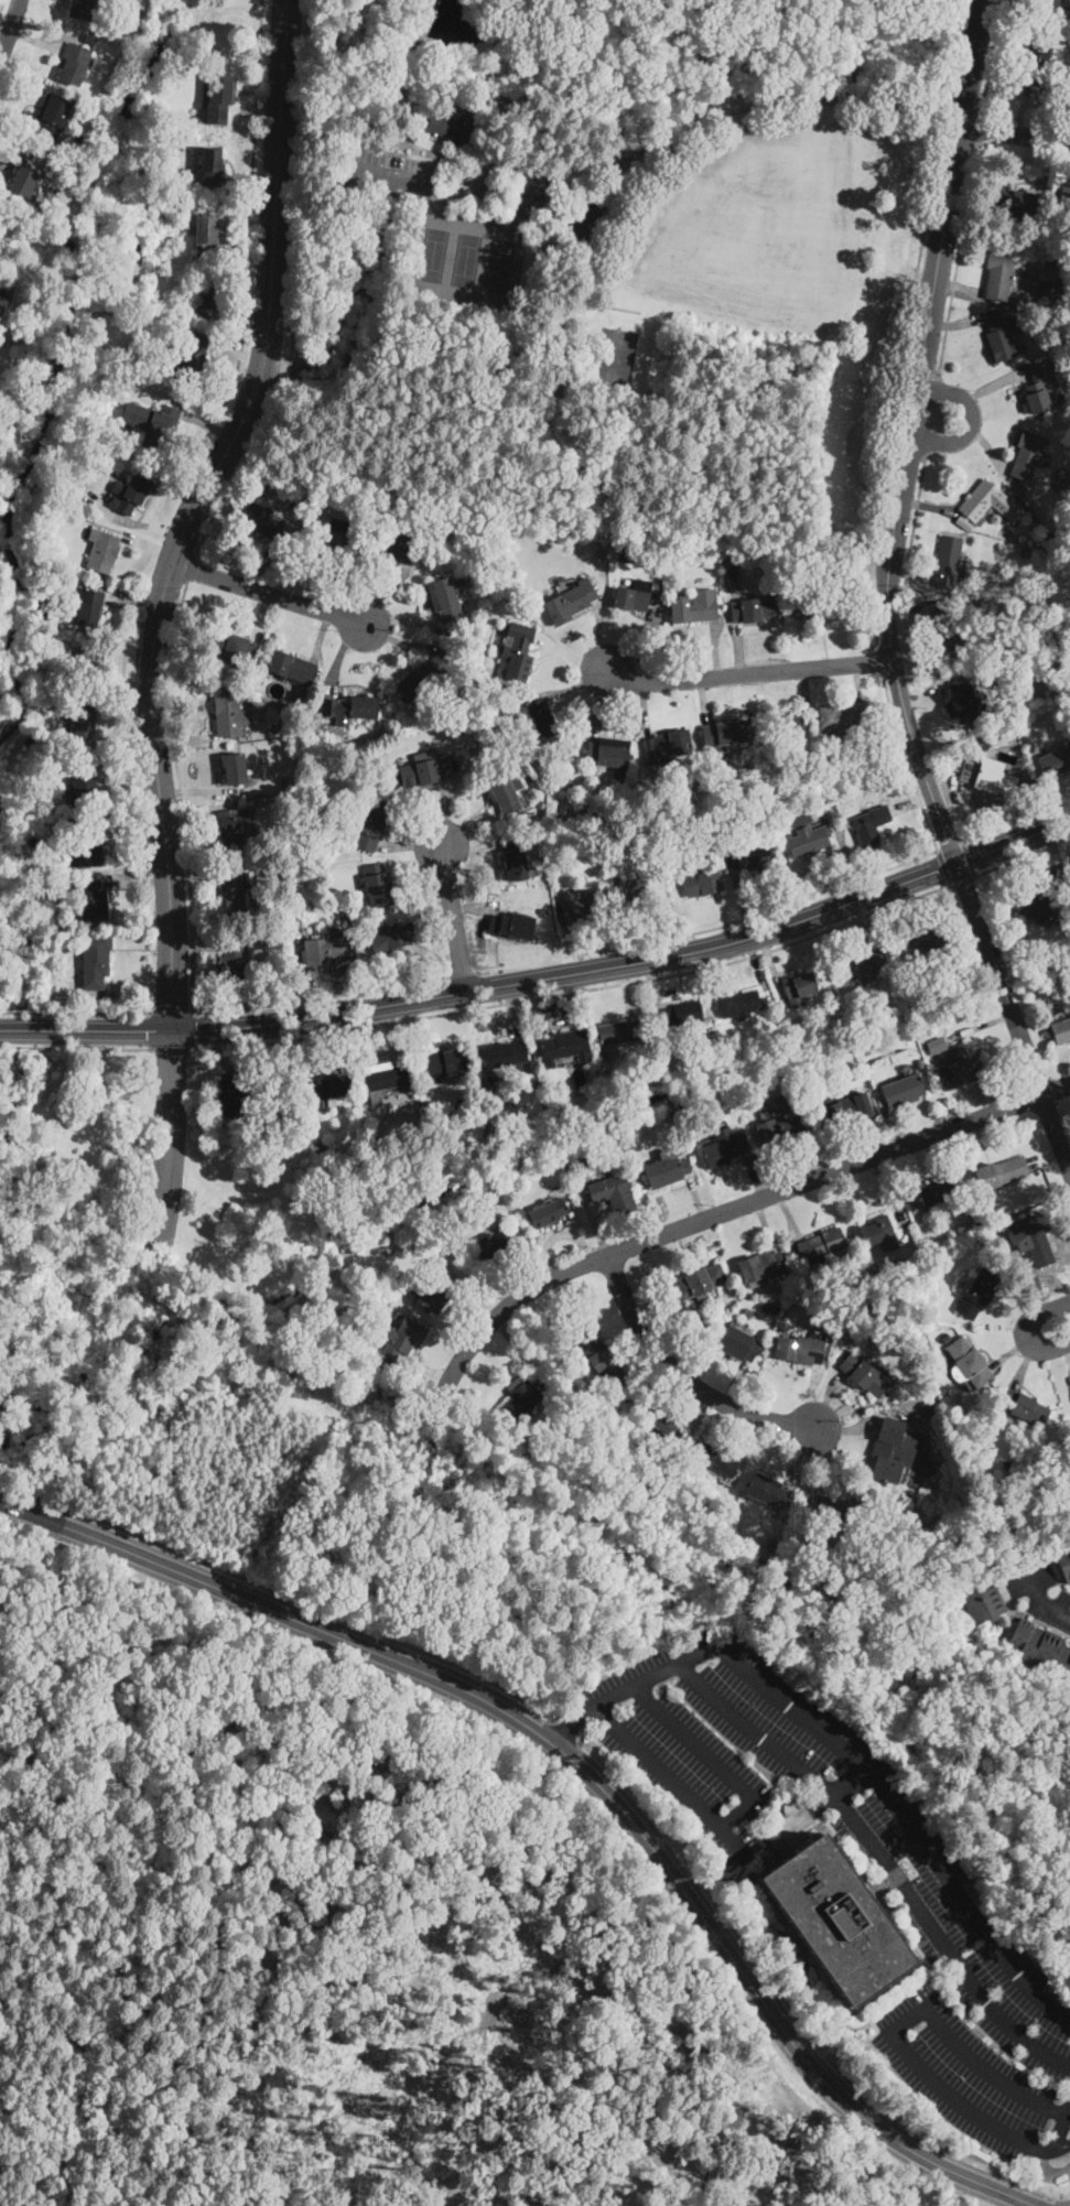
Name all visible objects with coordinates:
road: (0, 3)
building: (1047, 6)
building: (83, 9)
road: (1026, 9)
dam: (424, 15)
road: (10, 26)
road: (3, 34)
road: (36, 41)
road: (498, 48)
road: (992, 55)
building: (1037, 63)
building: (75, 64)
road: (357, 64)
road: (583, 93)
building: (219, 100)
building: (474, 101)
road: (256, 111)
road: (1026, 112)
road: (10, 115)
building: (48, 117)
road: (980, 126)
building: (453, 128)
road: (1016, 136)
road: (18, 156)
road: (601, 161)
building: (212, 165)
road: (1047, 165)
road: (493, 167)
parking lot: (388, 174)
building: (462, 175)
road: (387, 176)
road: (250, 179)
building: (455, 181)
building: (24, 183)
road: (618, 184)
building: (495, 187)
building: (466, 188)
building: (1064, 197)
building: (1015, 201)
road: (456, 206)
road: (242, 219)
park: (755, 229)
building: (207, 230)
road: (247, 239)
road: (958, 257)
road: (244, 262)
park: (465, 262)
building: (1026, 263)
park: (757, 266)
park: (614, 267)
building: (1053, 268)
building: (999, 274)
building: (1, 285)
road: (294, 288)
building: (1050, 290)
road: (269, 292)
building: (213, 295)
road: (990, 299)
road: (350, 301)
building: (2, 303)
road: (246, 310)
road: (962, 321)
road: (907, 324)
building: (1004, 338)
building: (133, 346)
road: (239, 354)
park: (614, 358)
building: (191, 363)
building: (1069, 364)
building: (30, 366)
road: (993, 383)
building: (1039, 387)
road: (929, 413)
building: (152, 422)
road: (971, 422)
road: (208, 425)
road: (985, 453)
building: (1027, 455)
building: (131, 493)
building: (293, 500)
building: (985, 504)
road: (927, 505)
building: (43, 515)
road: (916, 517)
building: (454, 520)
building: (264, 521)
road: (150, 526)
building: (1037, 527)
road: (915, 533)
building: (333, 538)
road: (137, 539)
building: (1051, 542)
building: (392, 547)
building: (102, 551)
building: (1025, 551)
building: (602, 554)
building: (626, 555)
building: (950, 562)
road: (192, 566)
road: (262, 566)
building: (1010, 566)
building: (841, 582)
road: (333, 584)
building: (733, 585)
road: (268, 595)
road: (387, 595)
building: (634, 596)
road: (887, 596)
building: (446, 597)
building: (570, 603)
road: (134, 605)
building: (91, 607)
building: (695, 607)
building: (813, 607)
road: (862, 607)
building: (754, 610)
road: (262, 616)
road: (909, 619)
road: (400, 620)
road: (601, 631)
building: (947, 631)
road: (322, 635)
road: (647, 636)
road: (397, 639)
building: (240, 649)
road: (715, 649)
road: (738, 649)
building: (517, 650)
building: (999, 650)
road: (571, 655)
road: (338, 656)
road: (880, 660)
building: (89, 664)
building: (292, 667)
road: (747, 673)
building: (425, 677)
building: (991, 678)
road: (857, 682)
road: (125, 684)
road: (575, 684)
road: (804, 690)
road: (926, 699)
road: (706, 700)
road: (598, 703)
building: (353, 707)
building: (968, 707)
road: (644, 710)
building: (230, 715)
building: (843, 717)
building: (540, 721)
building: (82, 722)
building: (786, 724)
building: (277, 728)
building: (723, 735)
road: (123, 740)
road: (182, 745)
building: (668, 745)
building: (610, 755)
building: (829, 757)
building: (1056, 761)
road: (125, 763)
road: (906, 763)
building: (235, 769)
building: (969, 770)
building: (426, 771)
building: (288, 780)
building: (991, 780)
building: (84, 785)
road: (197, 791)
building: (505, 791)
road: (180, 796)
road: (159, 797)
road: (911, 802)
building: (314, 809)
road: (962, 811)
road: (190, 814)
road: (443, 814)
building: (586, 814)
building: (799, 817)
road: (130, 818)
road: (1016, 821)
building: (872, 823)
building: (372, 824)
building: (234, 830)
road: (469, 830)
building: (596, 830)
building: (545, 831)
building: (808, 841)
building: (87, 844)
road: (411, 845)
road: (469, 846)
road: (950, 846)
road: (843, 848)
road: (413, 857)
building: (757, 857)
road: (969, 858)
road: (1023, 858)
building: (518, 861)
road: (943, 867)
road: (194, 874)
road: (132, 879)
road: (963, 879)
building: (47, 884)
building: (377, 884)
building: (702, 884)
building: (236, 888)
building: (644, 889)
building: (91, 900)
road: (742, 900)
building: (583, 904)
building: (1041, 904)
road: (467, 908)
building: (544, 911)
road: (454, 919)
road: (684, 920)
building: (511, 926)
road: (712, 928)
road: (861, 928)
building: (67, 932)
road: (628, 934)
building: (926, 938)
building: (393, 939)
road: (197, 947)
road: (574, 947)
building: (325, 950)
road: (435, 953)
building: (95, 961)
building: (235, 961)
road: (774, 967)
building: (861, 969)
road: (464, 974)
road: (295, 976)
road: (544, 978)
road: (651, 985)
building: (798, 985)
road: (688, 988)
road: (627, 990)
road: (577, 991)
building: (112, 993)
road: (321, 997)
building: (741, 1005)
road: (511, 1010)
road: (75, 1012)
road: (91, 1012)
road: (171, 1012)
building: (683, 1013)
road: (558, 1020)
building: (818, 1025)
building: (1061, 1029)
road: (193, 1030)
road: (151, 1031)
road: (392, 1032)
building: (619, 1032)
road: (418, 1038)
road: (338, 1041)
building: (937, 1046)
building: (565, 1047)
road: (75, 1049)
road: (172, 1049)
road: (219, 1052)
building: (651, 1052)
building: (505, 1055)
building: (610, 1058)
building: (445, 1064)
building: (956, 1069)
building: (807, 1074)
building: (386, 1077)
building: (324, 1089)
building: (904, 1090)
building: (235, 1094)
building: (782, 1103)
building: (841, 1109)
building: (679, 1113)
building: (768, 1113)
building: (294, 1125)
building: (781, 1132)
road: (171, 1142)
building: (324, 1148)
building: (725, 1148)
building: (584, 1155)
building: (592, 1168)
building: (408, 1169)
building: (667, 1170)
building: (1002, 1172)
building: (938, 1191)
building: (613, 1193)
building: (477, 1202)
road: (743, 1204)
building: (549, 1212)
building: (878, 1231)
building: (981, 1237)
building: (1031, 1237)
building: (820, 1245)
building: (491, 1250)
building: (763, 1266)
building: (700, 1282)
building: (1030, 1284)
building: (977, 1294)
building: (436, 1296)
building: (769, 1309)
building: (832, 1311)
building: (750, 1313)
road: (1030, 1327)
building: (945, 1338)
building: (360, 1339)
building: (402, 1340)
building: (738, 1344)
building: (799, 1349)
building: (603, 1362)
building: (970, 1362)
road: (428, 1367)
building: (864, 1374)
road: (682, 1376)
building: (519, 1401)
building: (1025, 1406)
building: (925, 1409)
building: (622, 1413)
building: (662, 1421)
building: (893, 1455)
building: (716, 1459)
building: (1007, 1464)
building: (927, 1468)
building: (767, 1492)
building: (829, 1508)
building: (771, 1544)
building: (813, 1558)
building: (1064, 1558)
road: (1027, 1579)
parking lot: (1037, 1590)
road: (282, 1592)
building: (982, 1599)
road: (1052, 1604)
building: (1040, 1651)
road: (568, 1730)
road: (562, 1734)
road: (692, 1742)
road: (853, 1758)
road: (583, 1769)
road: (668, 1778)
road: (842, 1789)
road: (735, 1812)
road: (882, 1857)
parking lot: (934, 1912)
building: (834, 1917)
road: (791, 2009)
road: (893, 2039)
road: (1069, 2113)
road: (1059, 2149)

